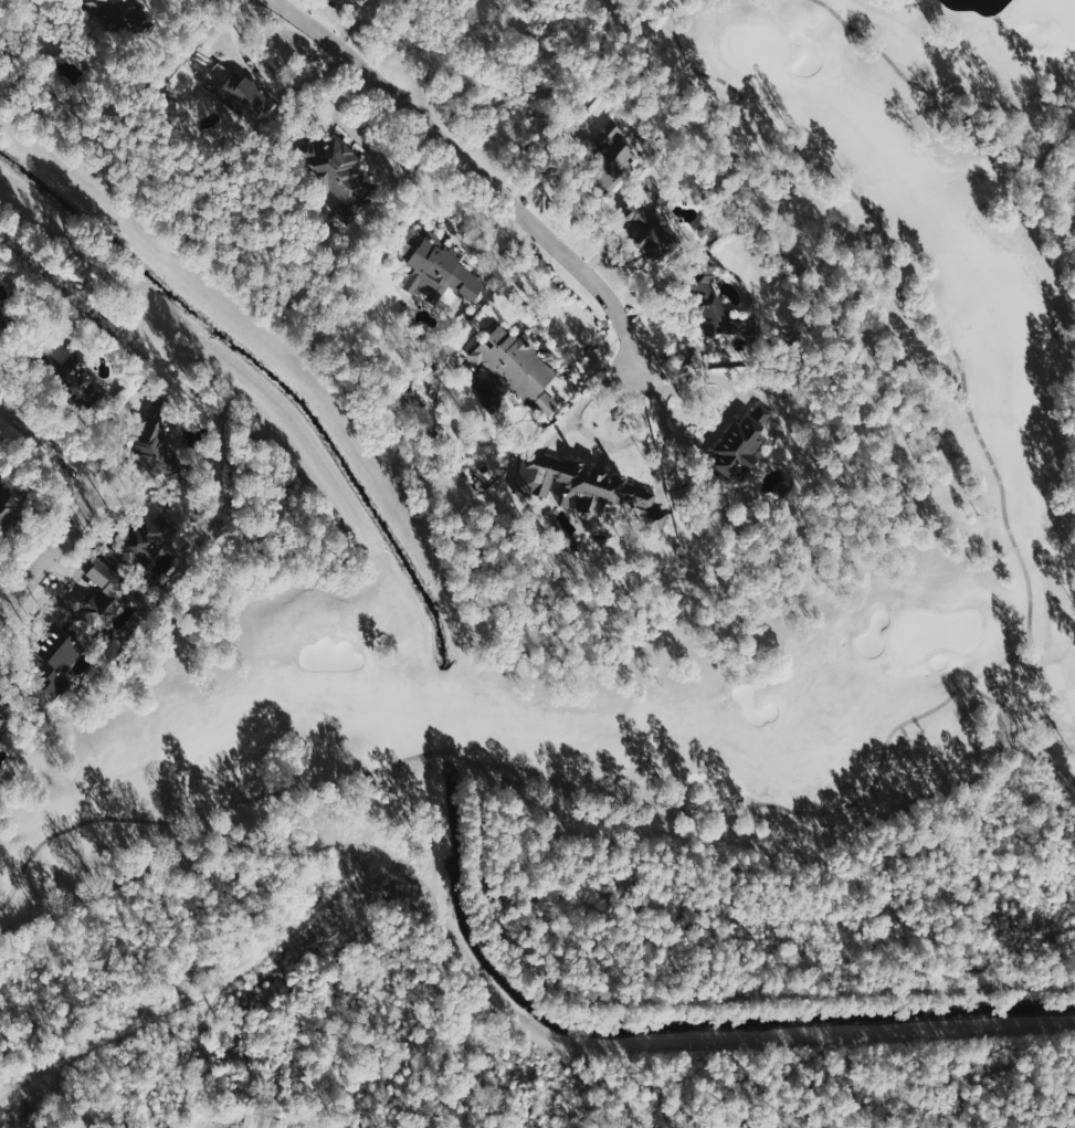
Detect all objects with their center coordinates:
building: (359, 0)
building: (365, 0)
park: (1056, 12)
building: (115, 17)
park: (756, 49)
building: (233, 91)
road: (932, 91)
building: (610, 146)
road: (476, 170)
building: (339, 176)
building: (705, 226)
building: (649, 233)
building: (440, 267)
building: (714, 305)
building: (0, 321)
road: (591, 362)
building: (516, 366)
building: (81, 381)
road: (45, 442)
building: (739, 444)
building: (156, 446)
building: (583, 491)
building: (9, 504)
building: (657, 517)
building: (144, 538)
road: (51, 548)
building: (106, 593)
park: (935, 630)
building: (54, 657)
road: (1022, 660)
road: (1034, 685)
park: (633, 704)
road: (1001, 704)
building: (3, 725)
road: (883, 753)
road: (484, 990)
building: (252, 1119)
building: (274, 1122)
road: (261, 1126)

